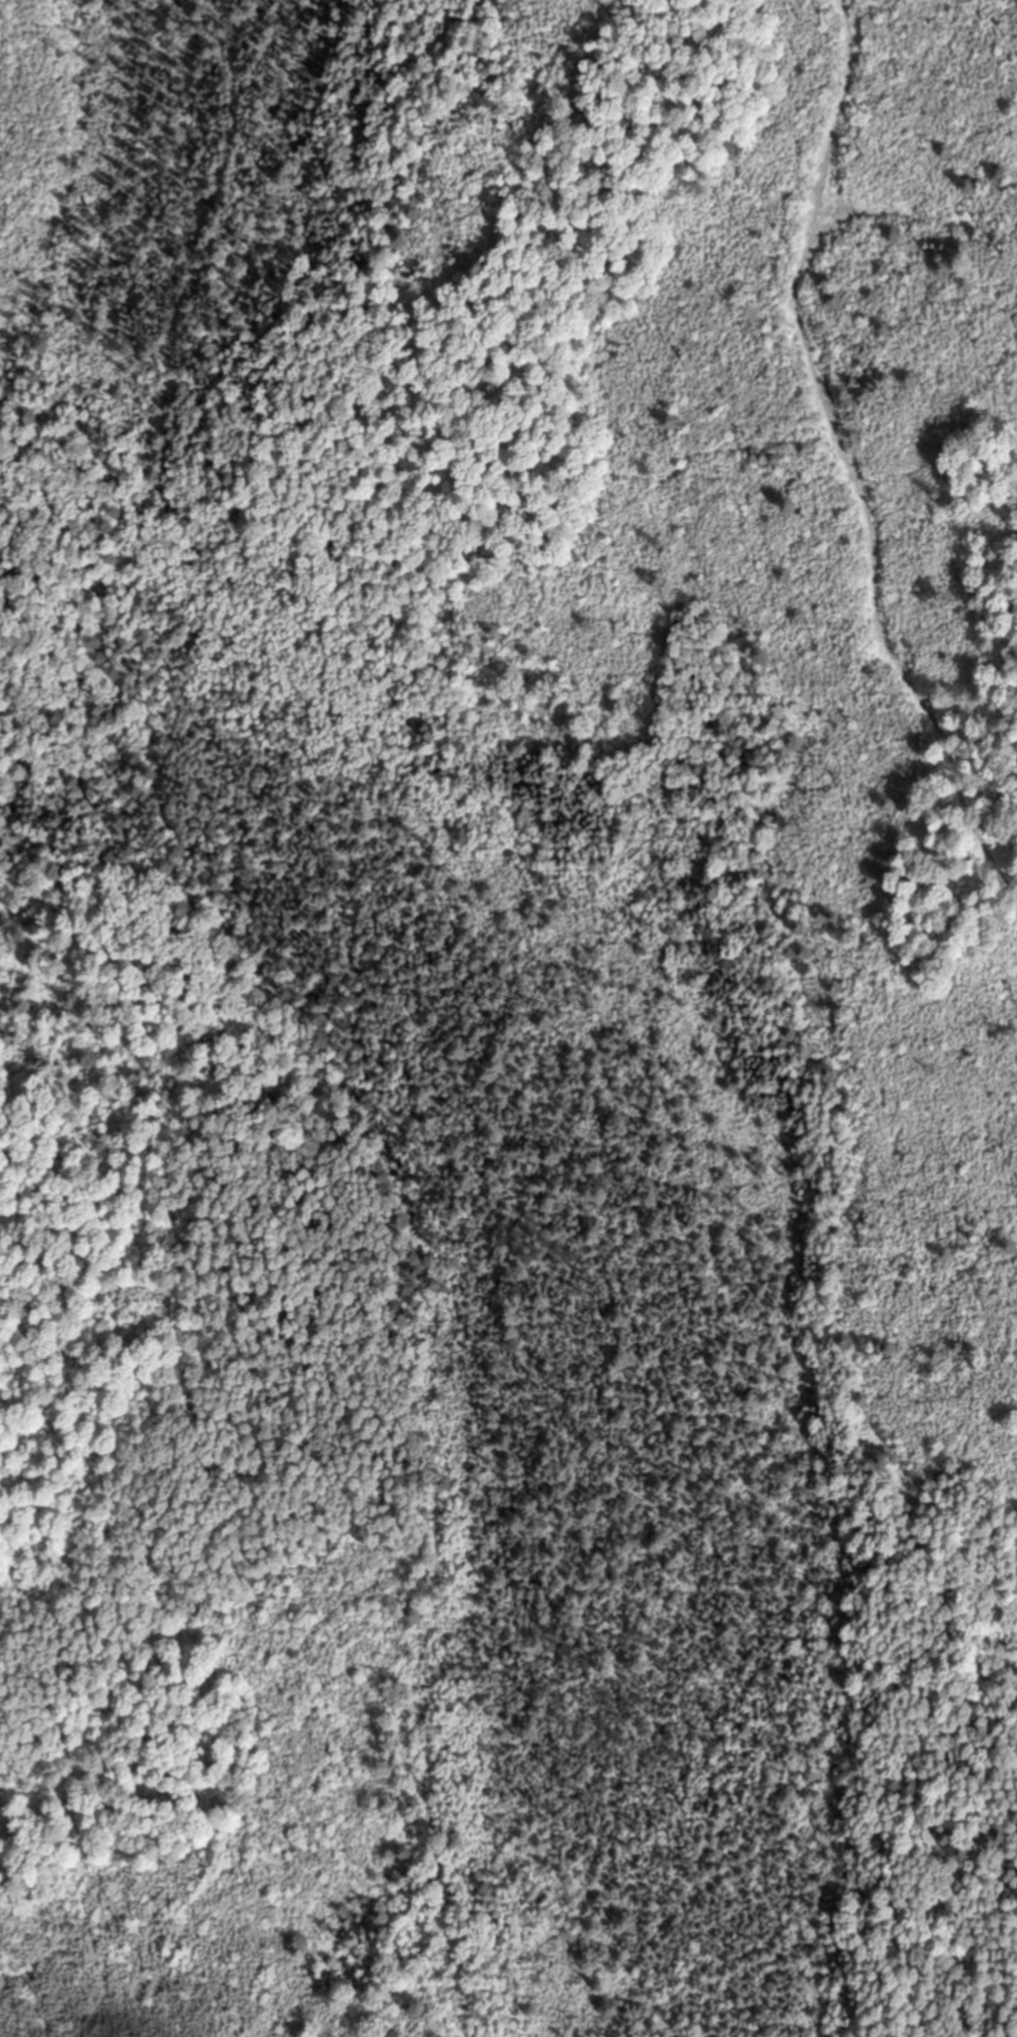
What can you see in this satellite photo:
road: (833, 459)

